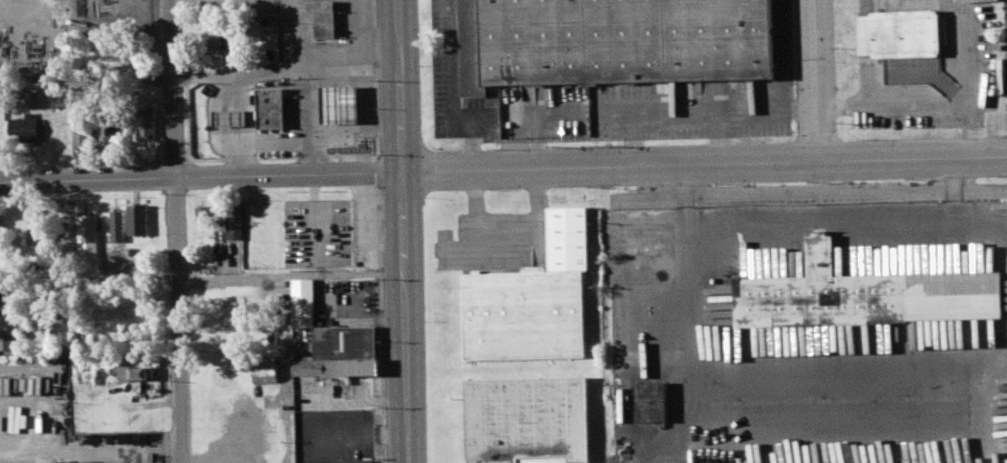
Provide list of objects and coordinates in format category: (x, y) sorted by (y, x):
building: (323, 17)
building: (900, 34)
building: (216, 38)
building: (611, 42)
building: (126, 62)
road: (317, 64)
parking lot: (935, 64)
road: (242, 75)
road: (819, 77)
road: (86, 78)
road: (373, 82)
road: (173, 88)
building: (92, 91)
road: (450, 97)
building: (30, 99)
road: (935, 99)
building: (341, 105)
road: (725, 107)
building: (271, 109)
gas station: (272, 109)
building: (231, 118)
building: (145, 122)
road: (970, 123)
building: (27, 129)
road: (357, 129)
building: (81, 131)
building: (114, 132)
road: (718, 134)
road: (631, 137)
road: (276, 141)
road: (503, 169)
road: (373, 172)
building: (204, 213)
road: (315, 215)
building: (137, 220)
building: (234, 221)
building: (36, 226)
building: (117, 226)
building: (0, 229)
road: (404, 231)
parking lot: (317, 233)
building: (87, 236)
road: (202, 278)
building: (866, 294)
building: (533, 297)
building: (303, 302)
building: (6, 303)
road: (180, 320)
road: (379, 323)
parking lot: (810, 324)
building: (9, 338)
building: (344, 343)
building: (339, 368)
building: (134, 373)
building: (265, 374)
road: (737, 374)
building: (654, 402)
parking lot: (57, 418)
building: (528, 418)
building: (364, 461)

